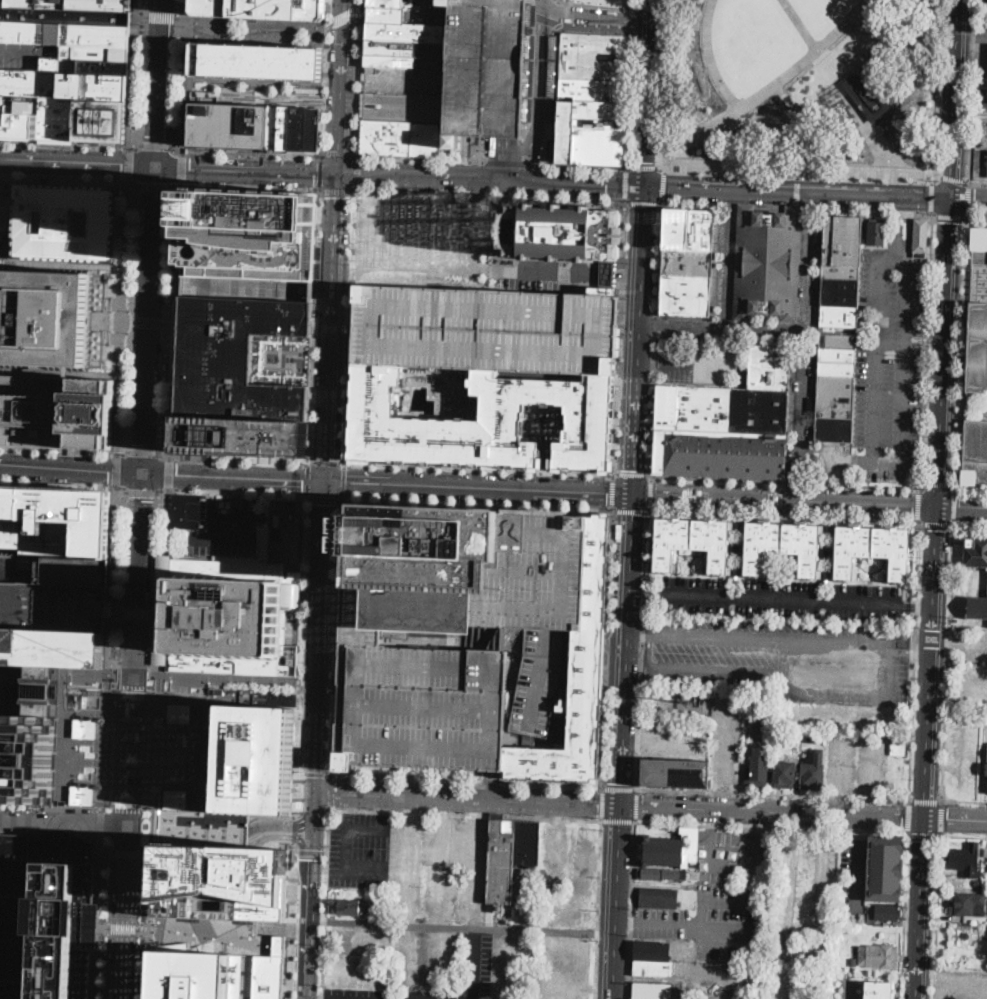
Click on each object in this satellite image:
building: (73, 4)
road: (490, 4)
road: (597, 4)
road: (634, 4)
building: (985, 4)
road: (526, 5)
road: (541, 8)
building: (263, 9)
road: (508, 9)
road: (510, 9)
road: (426, 12)
building: (65, 15)
road: (597, 15)
road: (345, 16)
road: (142, 17)
road: (542, 17)
road: (161, 18)
road: (633, 18)
road: (182, 19)
road: (690, 22)
road: (509, 28)
road: (649, 28)
parking lot: (985, 29)
road: (668, 30)
building: (30, 31)
road: (257, 31)
road: (974, 32)
building: (96, 34)
building: (398, 36)
road: (869, 42)
fountain: (853, 49)
building: (96, 52)
road: (710, 57)
road: (555, 58)
building: (257, 62)
building: (89, 66)
building: (485, 69)
parking lot: (485, 69)
road: (523, 72)
road: (134, 75)
building: (985, 76)
road: (185, 77)
road: (359, 78)
road: (326, 80)
road: (669, 82)
road: (773, 82)
building: (29, 83)
road: (160, 83)
building: (74, 85)
road: (486, 85)
road: (842, 85)
building: (109, 86)
park: (805, 86)
road: (343, 87)
road: (507, 87)
road: (971, 91)
road: (936, 92)
road: (255, 93)
road: (649, 93)
building: (591, 96)
building: (866, 96)
road: (630, 98)
road: (957, 100)
road: (539, 104)
road: (394, 107)
building: (19, 116)
building: (56, 118)
building: (101, 119)
road: (800, 122)
building: (229, 125)
building: (271, 127)
building: (283, 127)
building: (297, 128)
building: (311, 129)
building: (981, 134)
building: (385, 136)
building: (424, 138)
road: (70, 144)
road: (154, 146)
road: (244, 150)
road: (339, 154)
road: (419, 159)
road: (471, 159)
road: (504, 159)
traffic signals: (646, 160)
road: (78, 163)
road: (131, 163)
road: (509, 163)
traffic signals: (157, 166)
road: (582, 166)
road: (646, 166)
road: (182, 167)
road: (803, 168)
road: (248, 171)
road: (357, 172)
traffic signals: (315, 174)
road: (321, 175)
traffic signals: (362, 177)
road: (422, 179)
road: (953, 179)
road: (71, 182)
road: (663, 183)
road: (977, 183)
road: (574, 185)
road: (626, 185)
road: (155, 186)
traffic signals: (620, 187)
road: (244, 188)
road: (478, 189)
traffic signals: (678, 189)
road: (336, 191)
road: (797, 193)
road: (798, 195)
traffic signals: (340, 196)
road: (488, 196)
road: (967, 196)
road: (931, 198)
traffic signals: (919, 199)
road: (643, 202)
road: (969, 202)
traffic signals: (975, 202)
road: (800, 208)
road: (951, 216)
road: (976, 217)
road: (897, 221)
building: (64, 222)
traffic signals: (951, 222)
building: (675, 228)
building: (700, 229)
building: (559, 231)
building: (877, 232)
building: (920, 233)
parking lot: (429, 240)
building: (828, 240)
building: (847, 241)
building: (248, 245)
building: (979, 245)
road: (384, 250)
park: (246, 254)
road: (658, 259)
road: (729, 259)
building: (687, 262)
road: (809, 262)
road: (69, 263)
building: (768, 263)
building: (840, 271)
road: (573, 274)
building: (608, 274)
road: (573, 284)
building: (840, 291)
building: (686, 294)
road: (628, 310)
road: (124, 315)
building: (839, 316)
building: (43, 318)
road: (176, 318)
building: (97, 319)
road: (150, 319)
park: (112, 320)
road: (149, 322)
road: (655, 323)
road: (348, 325)
road: (314, 327)
road: (722, 327)
road: (333, 328)
building: (486, 328)
parking lot: (486, 328)
road: (866, 332)
road: (619, 338)
road: (342, 340)
building: (838, 340)
road: (638, 341)
road: (960, 349)
building: (978, 349)
road: (877, 350)
road: (924, 352)
road: (943, 352)
building: (837, 353)
building: (236, 358)
park: (281, 360)
road: (665, 362)
parking lot: (676, 365)
building: (769, 366)
building: (837, 367)
road: (63, 372)
parking lot: (884, 373)
road: (901, 385)
building: (836, 395)
road: (651, 403)
building: (667, 405)
road: (804, 406)
road: (921, 406)
building: (704, 407)
building: (759, 409)
building: (56, 412)
building: (484, 421)
fountain: (546, 422)
building: (835, 428)
park: (545, 429)
building: (241, 435)
road: (143, 450)
road: (64, 451)
building: (720, 452)
building: (975, 452)
road: (232, 459)
road: (325, 463)
road: (72, 469)
road: (478, 469)
traffic signals: (633, 469)
road: (117, 470)
road: (168, 473)
traffic signals: (144, 474)
road: (632, 475)
road: (235, 477)
road: (308, 480)
road: (725, 480)
traffic signals: (303, 481)
road: (922, 481)
road: (343, 482)
road: (939, 482)
traffic signals: (347, 483)
road: (64, 484)
road: (860, 485)
road: (479, 488)
road: (140, 490)
road: (970, 490)
road: (800, 491)
road: (613, 492)
traffic signals: (608, 493)
road: (648, 493)
road: (230, 494)
traffic signals: (656, 495)
road: (785, 498)
road: (324, 499)
road: (236, 501)
traffic signals: (327, 504)
traffic signals: (914, 504)
road: (918, 504)
building: (278, 505)
road: (477, 505)
traffic signals: (960, 506)
road: (962, 506)
road: (213, 507)
road: (954, 507)
road: (630, 509)
building: (190, 512)
road: (783, 513)
building: (55, 520)
road: (938, 523)
road: (970, 523)
building: (738, 525)
park: (474, 528)
building: (829, 529)
traffic signals: (938, 529)
fountain: (483, 531)
parking lot: (229, 532)
road: (218, 536)
building: (693, 543)
building: (783, 547)
building: (873, 551)
building: (976, 551)
building: (986, 568)
building: (72, 569)
building: (736, 571)
building: (471, 574)
parking lot: (471, 574)
building: (826, 576)
building: (291, 589)
road: (645, 593)
road: (332, 597)
parking lot: (780, 598)
road: (782, 599)
road: (918, 606)
building: (976, 606)
building: (162, 608)
road: (117, 612)
road: (136, 613)
road: (155, 614)
building: (225, 617)
building: (53, 624)
fountain: (357, 627)
road: (321, 637)
road: (336, 638)
road: (861, 642)
road: (942, 643)
parking lot: (969, 643)
road: (969, 643)
road: (109, 647)
road: (608, 647)
road: (649, 648)
road: (642, 649)
road: (626, 650)
road: (911, 650)
road: (914, 656)
parking lot: (784, 658)
road: (299, 659)
road: (946, 661)
road: (932, 662)
road: (133, 663)
road: (514, 669)
road: (715, 669)
road: (541, 670)
road: (566, 671)
road: (586, 671)
road: (613, 673)
road: (228, 678)
building: (538, 680)
parking lot: (538, 680)
parking lot: (968, 681)
building: (576, 682)
road: (940, 683)
road: (968, 683)
road: (54, 688)
building: (53, 690)
building: (420, 706)
parking lot: (420, 706)
building: (179, 712)
building: (984, 718)
building: (84, 727)
road: (131, 736)
building: (815, 737)
road: (663, 738)
parking lot: (675, 740)
building: (790, 740)
parking lot: (726, 741)
building: (29, 743)
road: (154, 745)
building: (899, 745)
road: (129, 746)
park: (129, 747)
road: (962, 752)
fountain: (169, 756)
parking lot: (961, 756)
road: (728, 758)
building: (250, 760)
building: (758, 762)
parking lot: (861, 764)
road: (937, 764)
road: (842, 766)
road: (870, 766)
building: (813, 771)
building: (986, 771)
road: (303, 773)
road: (318, 773)
building: (676, 773)
building: (785, 774)
road: (962, 778)
road: (466, 780)
traffic signals: (620, 782)
road: (488, 784)
road: (619, 786)
road: (331, 791)
road: (773, 792)
traffic signals: (337, 793)
building: (82, 794)
building: (175, 798)
road: (466, 798)
road: (925, 799)
road: (964, 801)
road: (601, 802)
road: (636, 804)
road: (841, 804)
traffic signals: (596, 805)
road: (870, 805)
road: (56, 806)
road: (71, 807)
traffic signals: (642, 807)
road: (447, 810)
road: (465, 812)
road: (771, 813)
road: (908, 816)
road: (25, 817)
road: (940, 817)
traffic signals: (902, 818)
road: (89, 819)
road: (617, 819)
traffic signals: (947, 820)
road: (955, 820)
road: (101, 821)
road: (292, 824)
traffic signals: (294, 825)
road: (770, 827)
road: (296, 831)
road: (923, 834)
road: (281, 835)
road: (963, 835)
road: (557, 836)
traffic signals: (925, 839)
building: (672, 849)
road: (124, 852)
road: (297, 852)
road: (312, 853)
parking lot: (365, 854)
building: (511, 856)
traffic signals: (311, 859)
building: (967, 861)
road: (474, 862)
road: (858, 864)
building: (885, 868)
parking lot: (444, 869)
road: (617, 869)
road: (445, 873)
road: (709, 873)
building: (663, 875)
parking lot: (561, 879)
building: (224, 882)
road: (730, 889)
road: (309, 895)
parking lot: (804, 895)
building: (658, 896)
road: (325, 902)
building: (967, 903)
parking lot: (711, 905)
building: (351, 907)
road: (596, 908)
road: (922, 908)
parking lot: (46, 909)
road: (631, 909)
parking lot: (216, 912)
building: (887, 912)
building: (45, 914)
road: (904, 916)
road: (97, 917)
road: (936, 917)
road: (297, 919)
road: (660, 921)
road: (461, 926)
road: (288, 927)
road: (103, 928)
road: (122, 929)
road: (139, 930)
road: (149, 930)
road: (262, 935)
road: (731, 935)
building: (967, 935)
building: (281, 945)
building: (684, 946)
road: (442, 948)
road: (291, 950)
road: (802, 950)
parking lot: (418, 955)
building: (878, 956)
building: (653, 959)
road: (412, 961)
building: (853, 961)
building: (561, 962)
road: (476, 963)
road: (511, 963)
road: (612, 965)
parking lot: (550, 967)
road: (370, 971)
building: (216, 975)
building: (881, 986)
building: (653, 990)
road: (852, 990)
building: (771, 991)
parking lot: (399, 994)
building: (880, 995)

